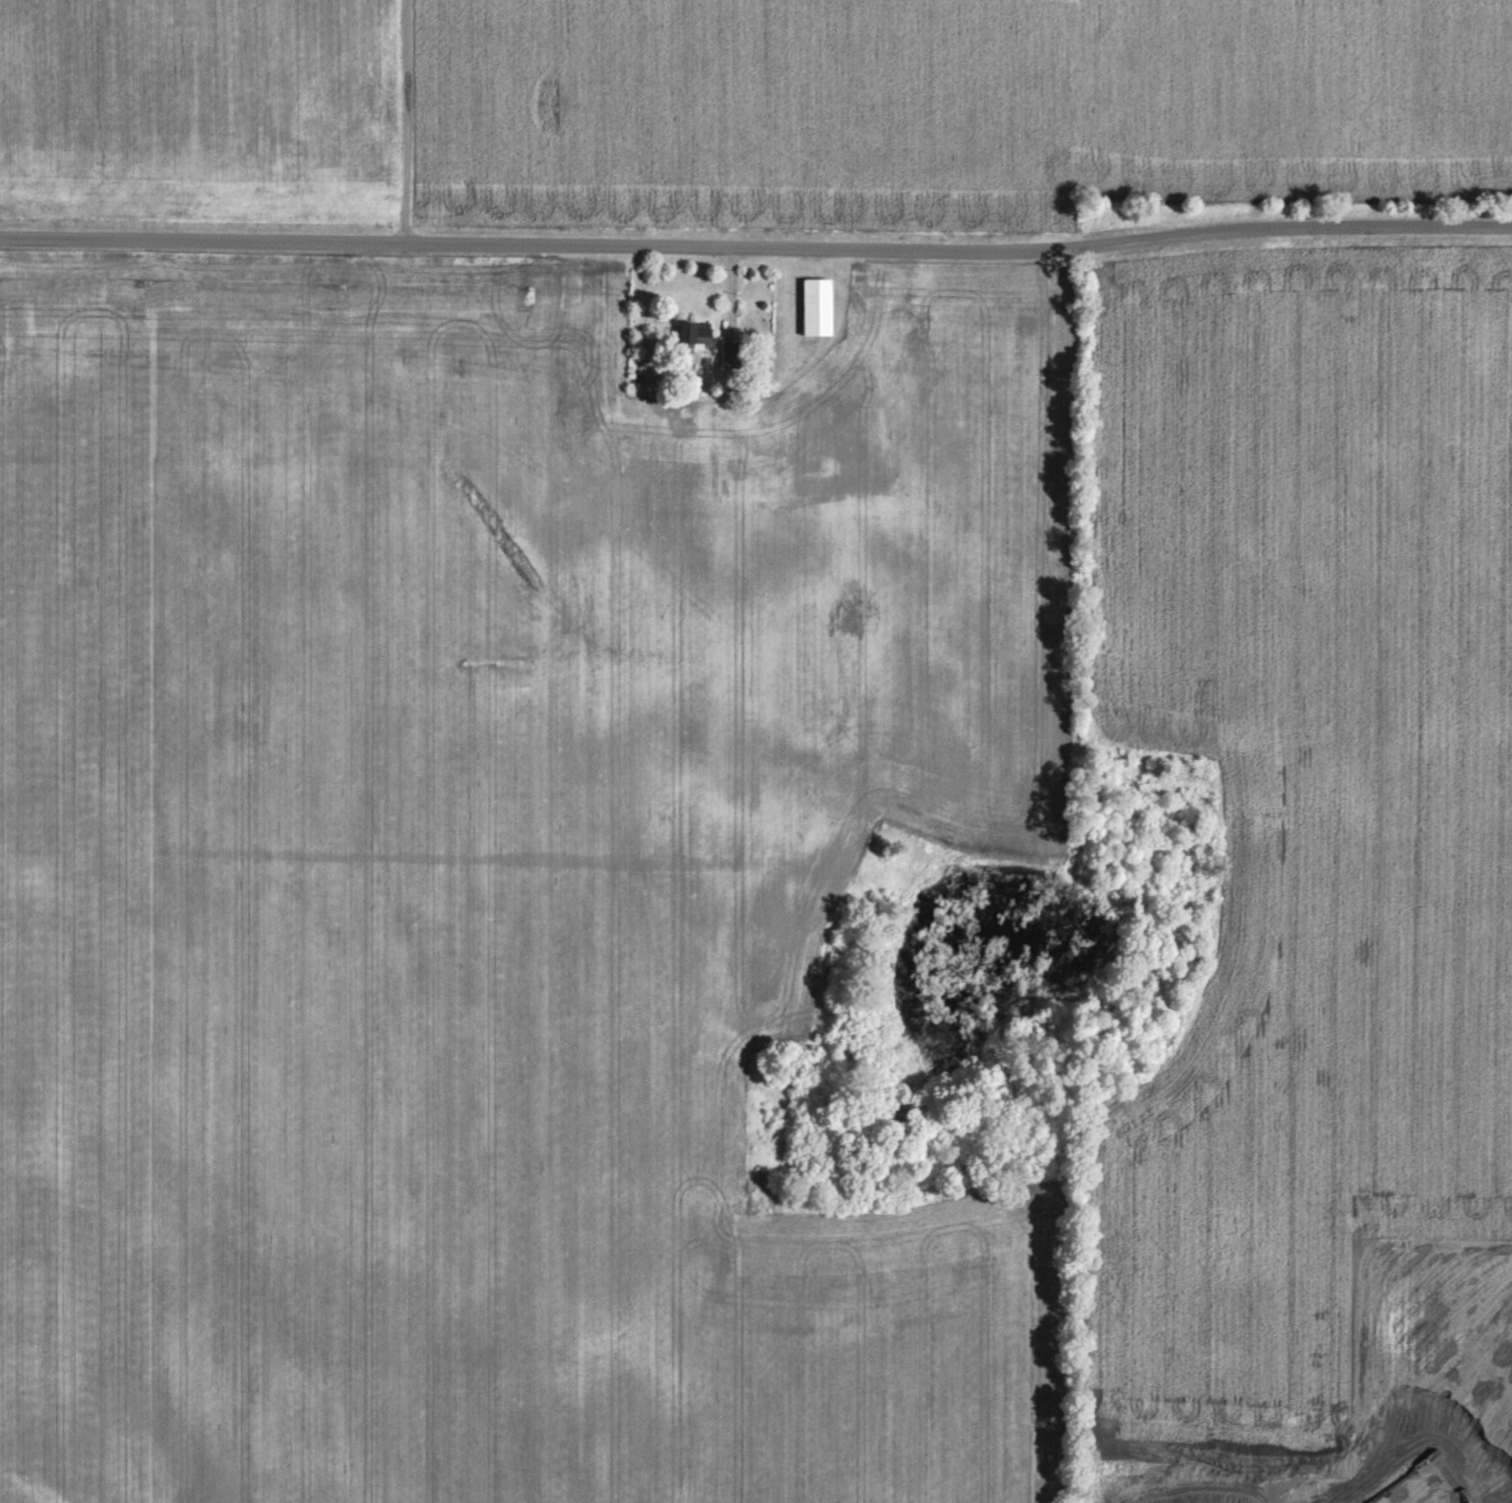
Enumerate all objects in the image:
road: (406, 120)
road: (1296, 224)
road: (540, 241)
building: (815, 306)
building: (694, 333)
building: (730, 353)

